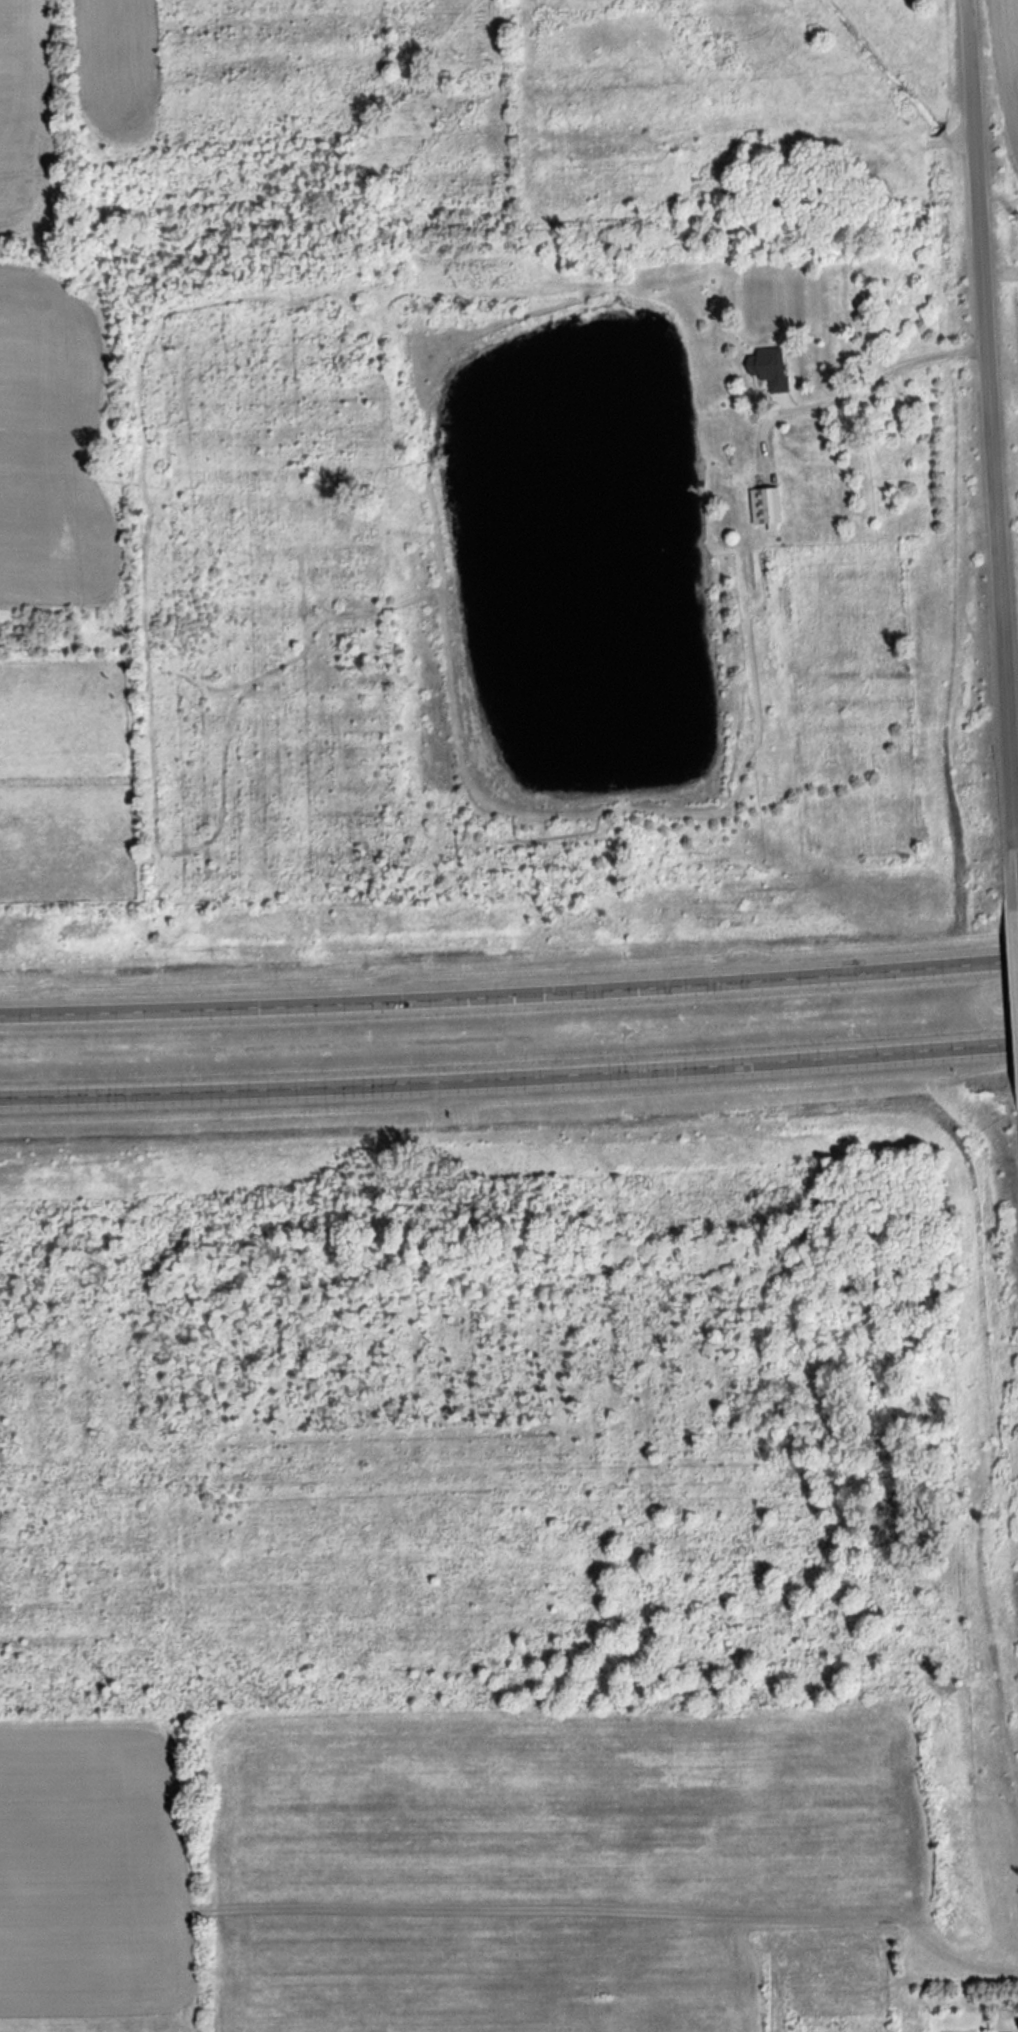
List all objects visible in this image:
road: (879, 371)
road: (986, 450)
building: (764, 494)
road: (509, 993)
road: (1013, 994)
road: (509, 1077)

